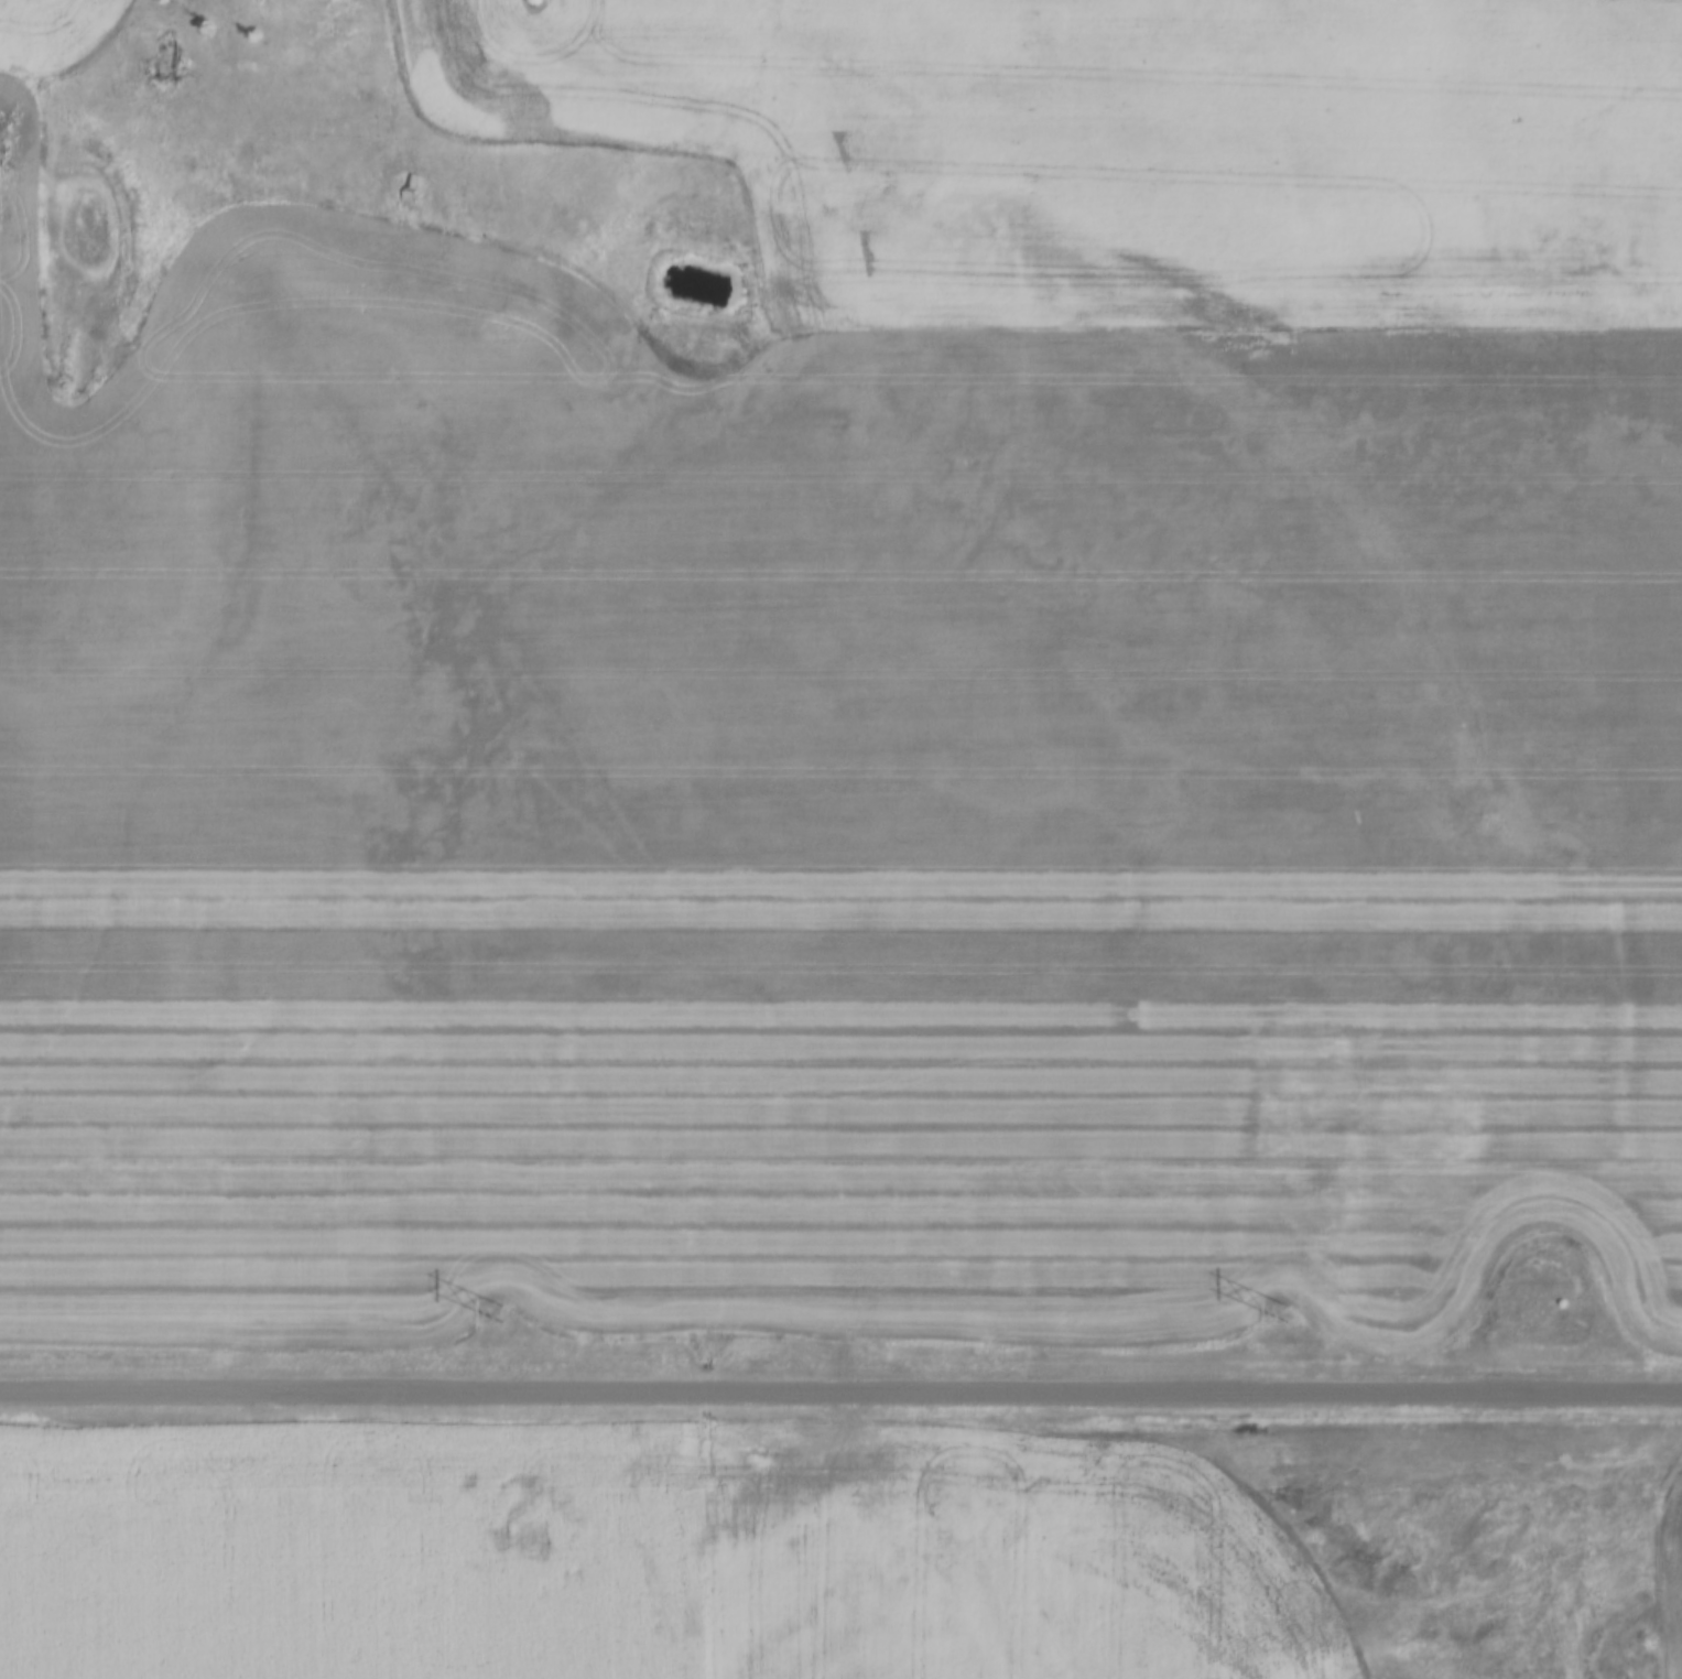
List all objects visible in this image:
road: (615, 80)
building: (402, 192)
power tower: (1266, 1314)
power tower: (479, 1318)
road: (840, 1389)

